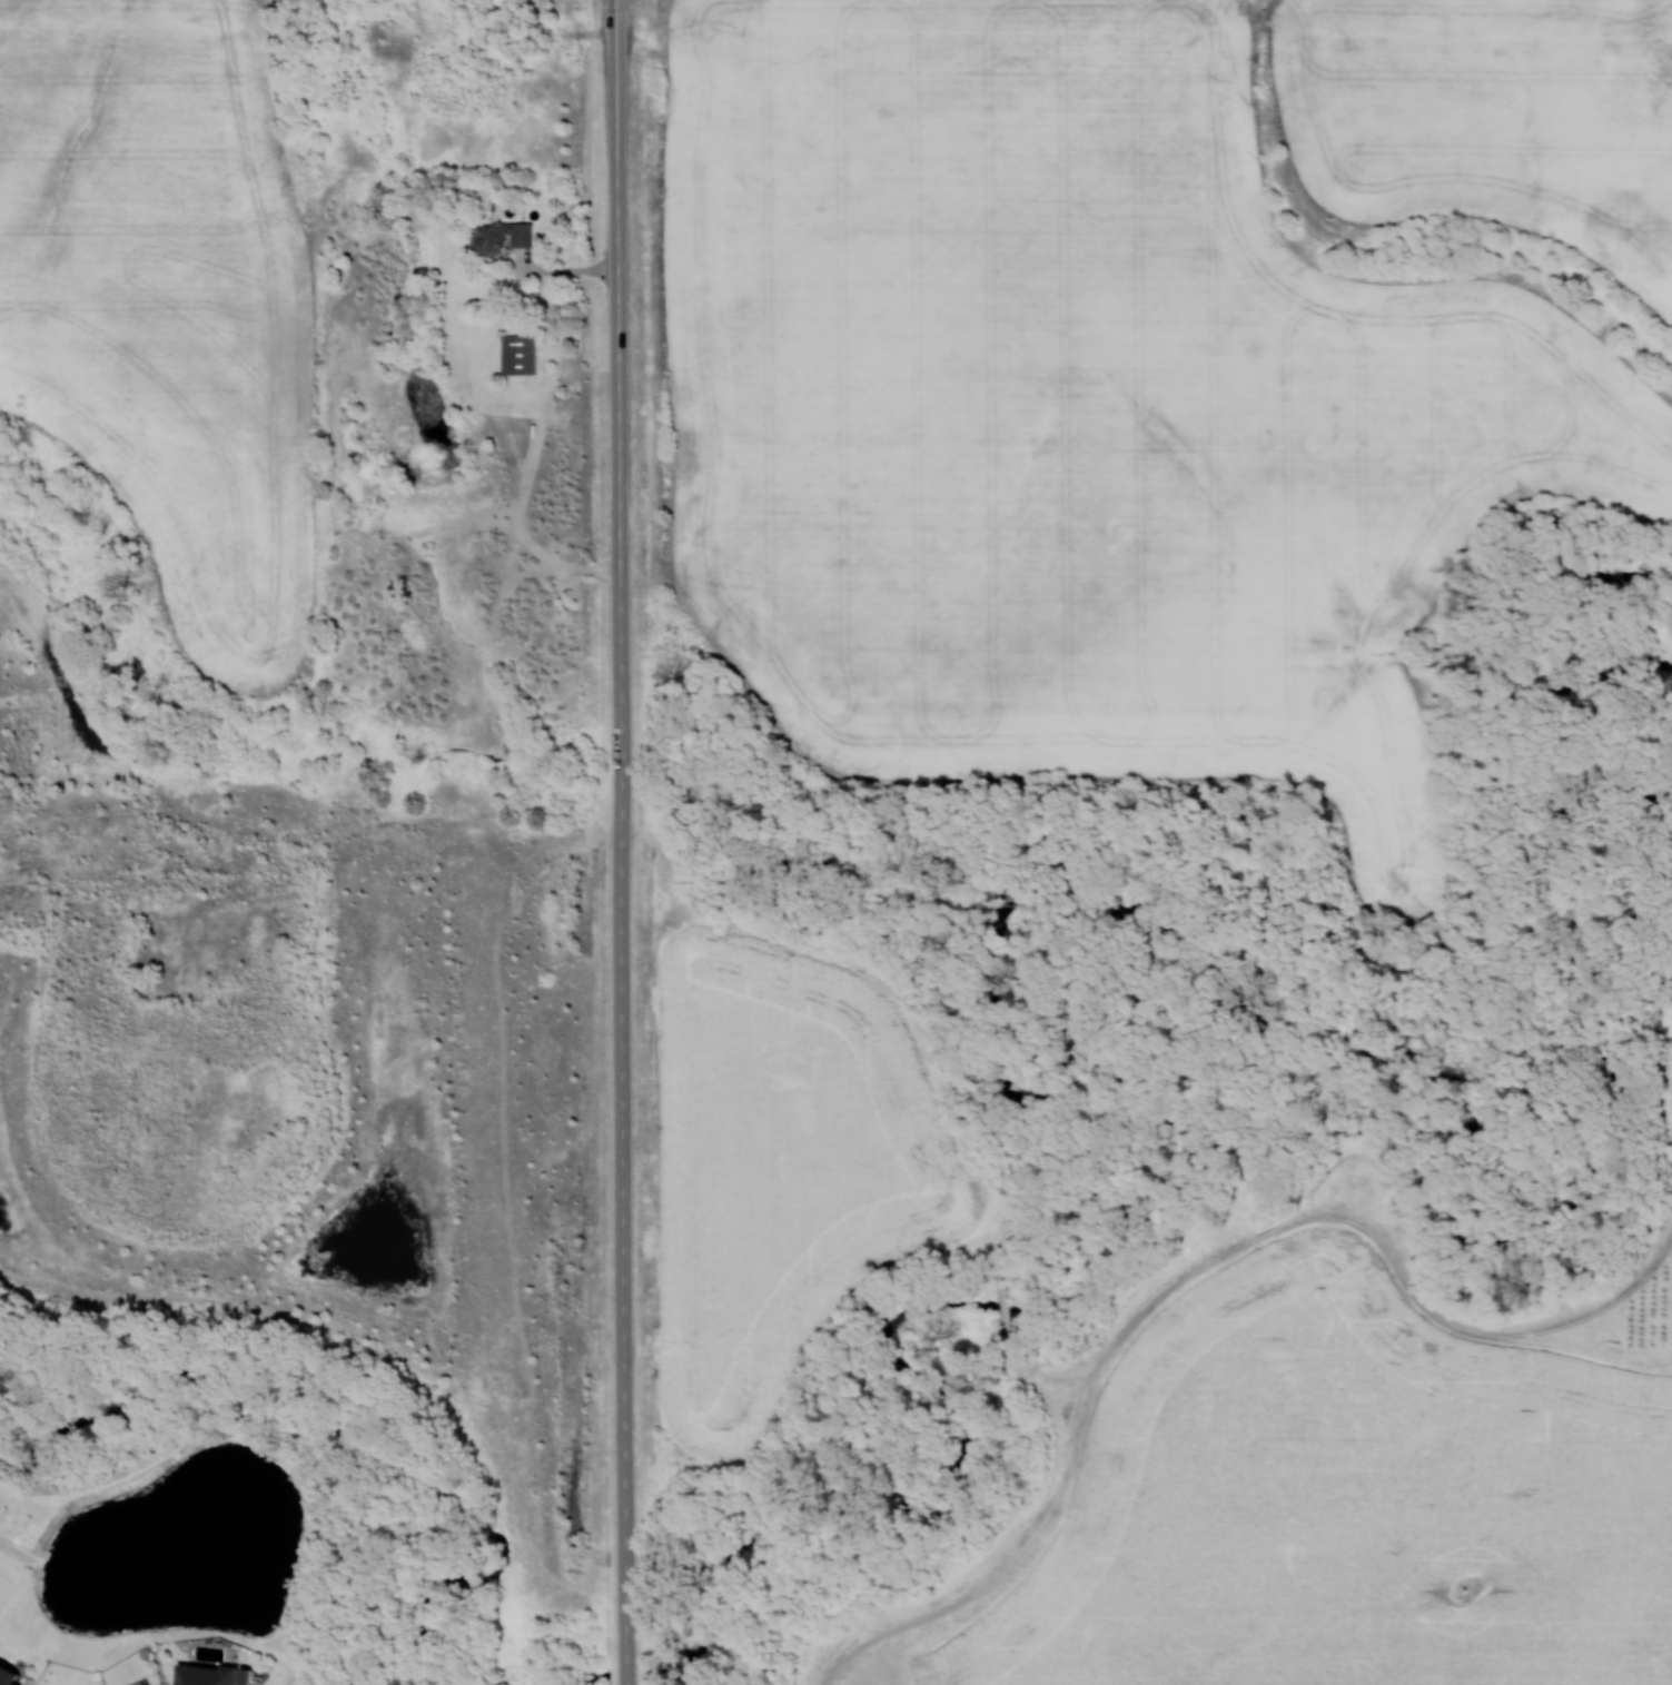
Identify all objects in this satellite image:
building: (513, 234)
road: (620, 842)
building: (202, 1674)

